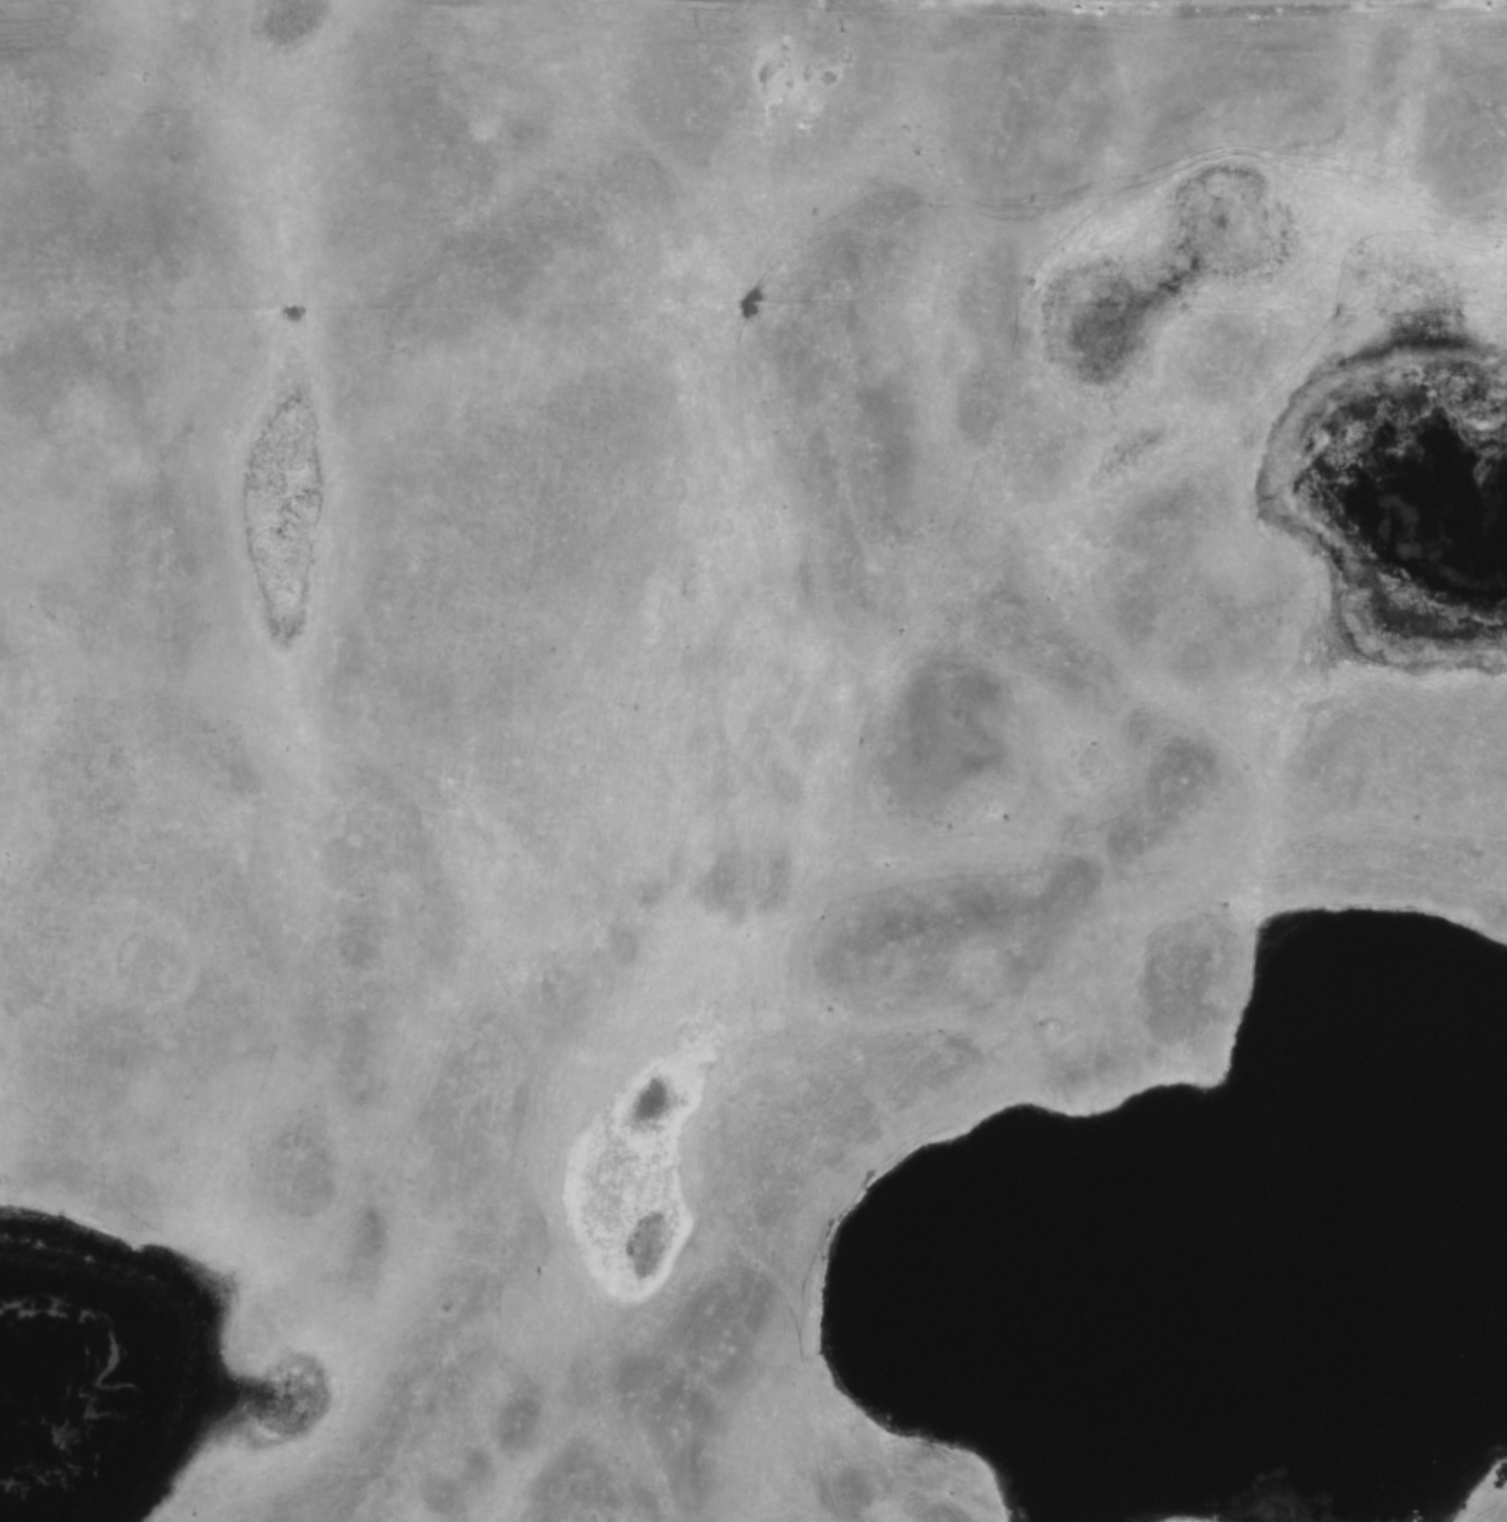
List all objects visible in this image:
road: (658, 381)

